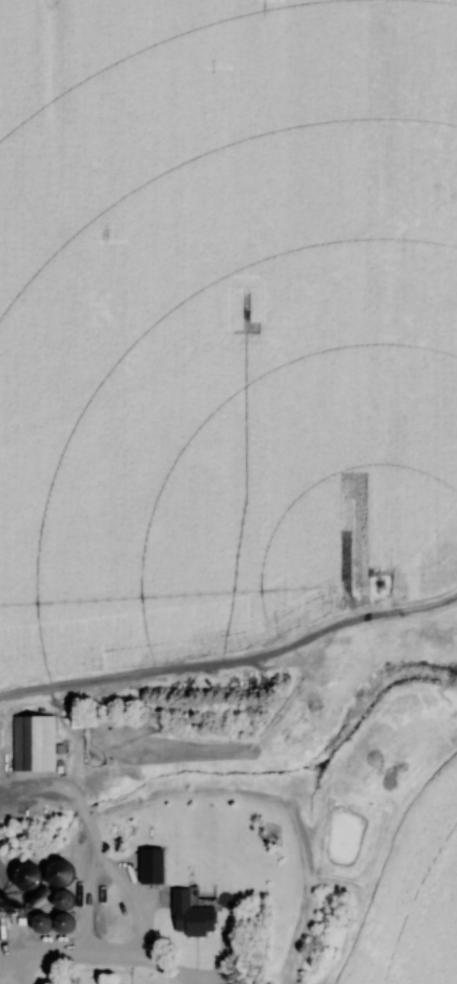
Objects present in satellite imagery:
building: (35, 742)
building: (61, 875)
building: (193, 912)
building: (45, 923)
road: (104, 954)

